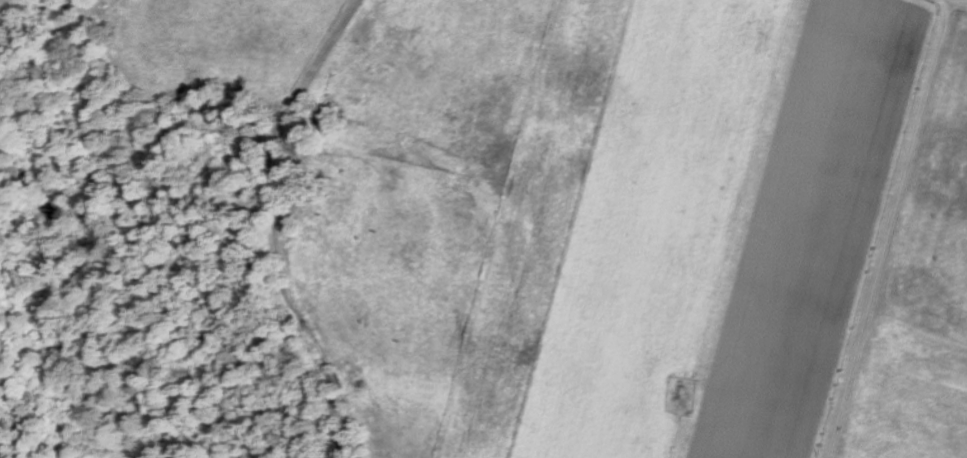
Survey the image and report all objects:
park: (681, 392)

